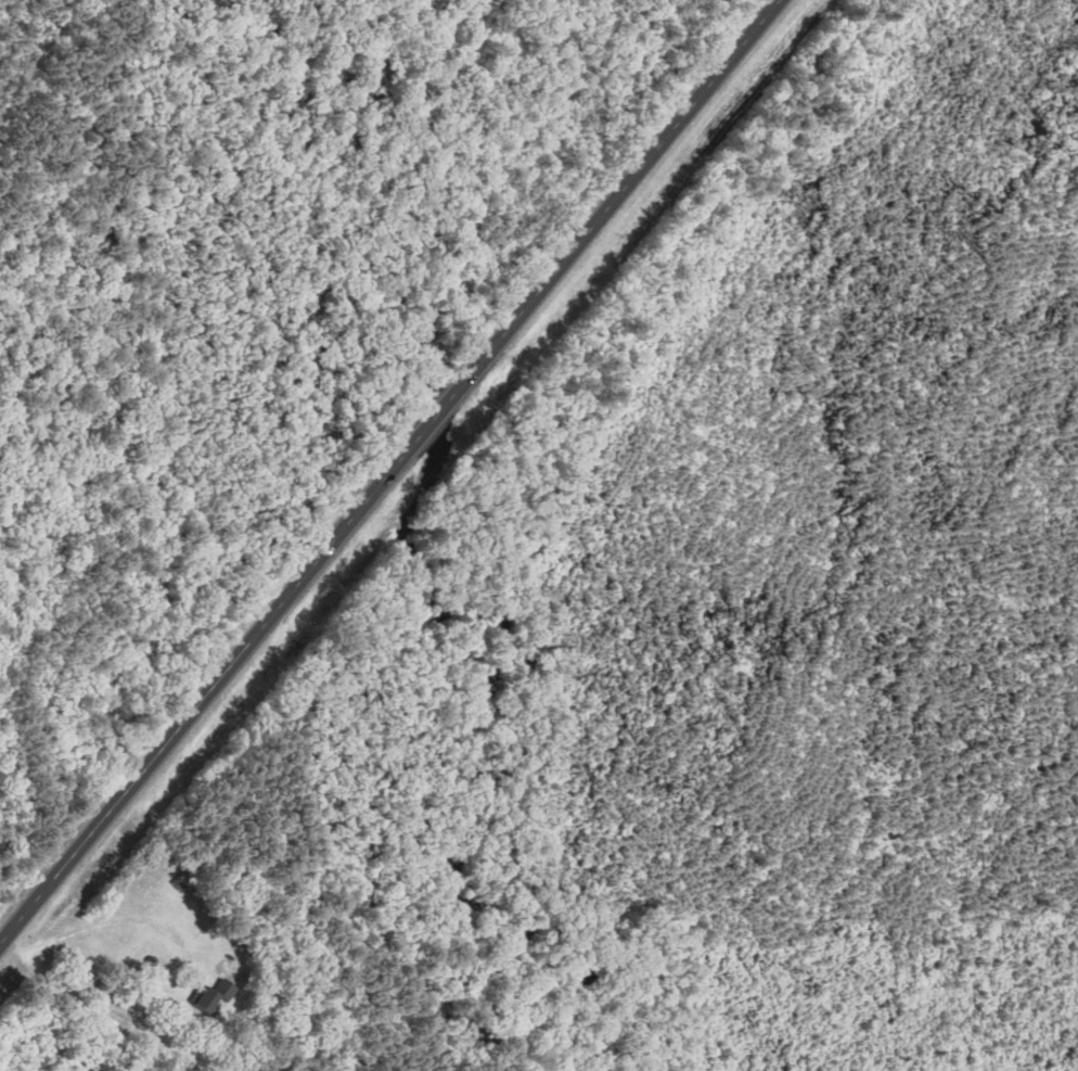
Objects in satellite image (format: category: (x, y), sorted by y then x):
road: (616, 196)
road: (435, 416)
road: (208, 691)
building: (216, 996)

